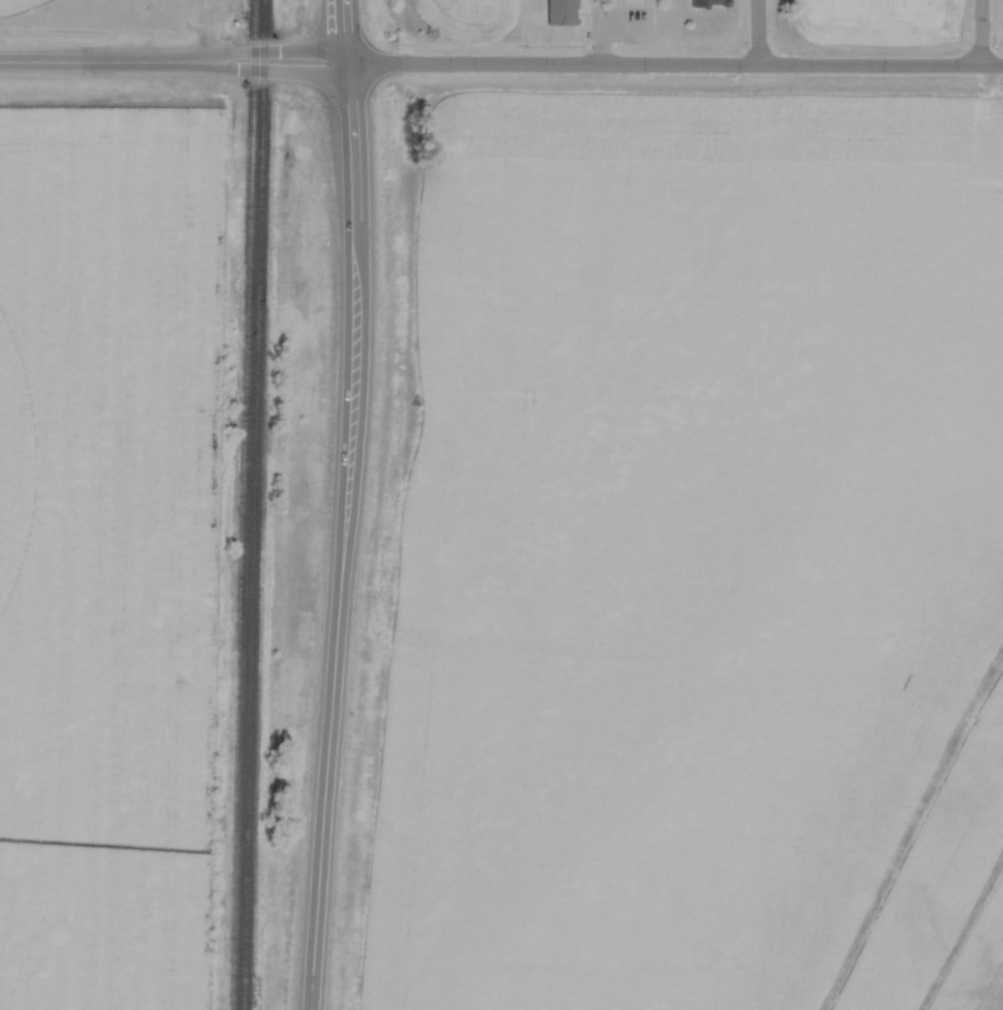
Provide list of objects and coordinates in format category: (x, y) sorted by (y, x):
building: (708, 4)
park: (17, 6)
building: (561, 13)
road: (343, 30)
road: (755, 32)
road: (978, 33)
road: (172, 59)
road: (673, 65)
railway: (235, 504)
railway: (248, 505)
road: (342, 535)
crop: (104, 543)

